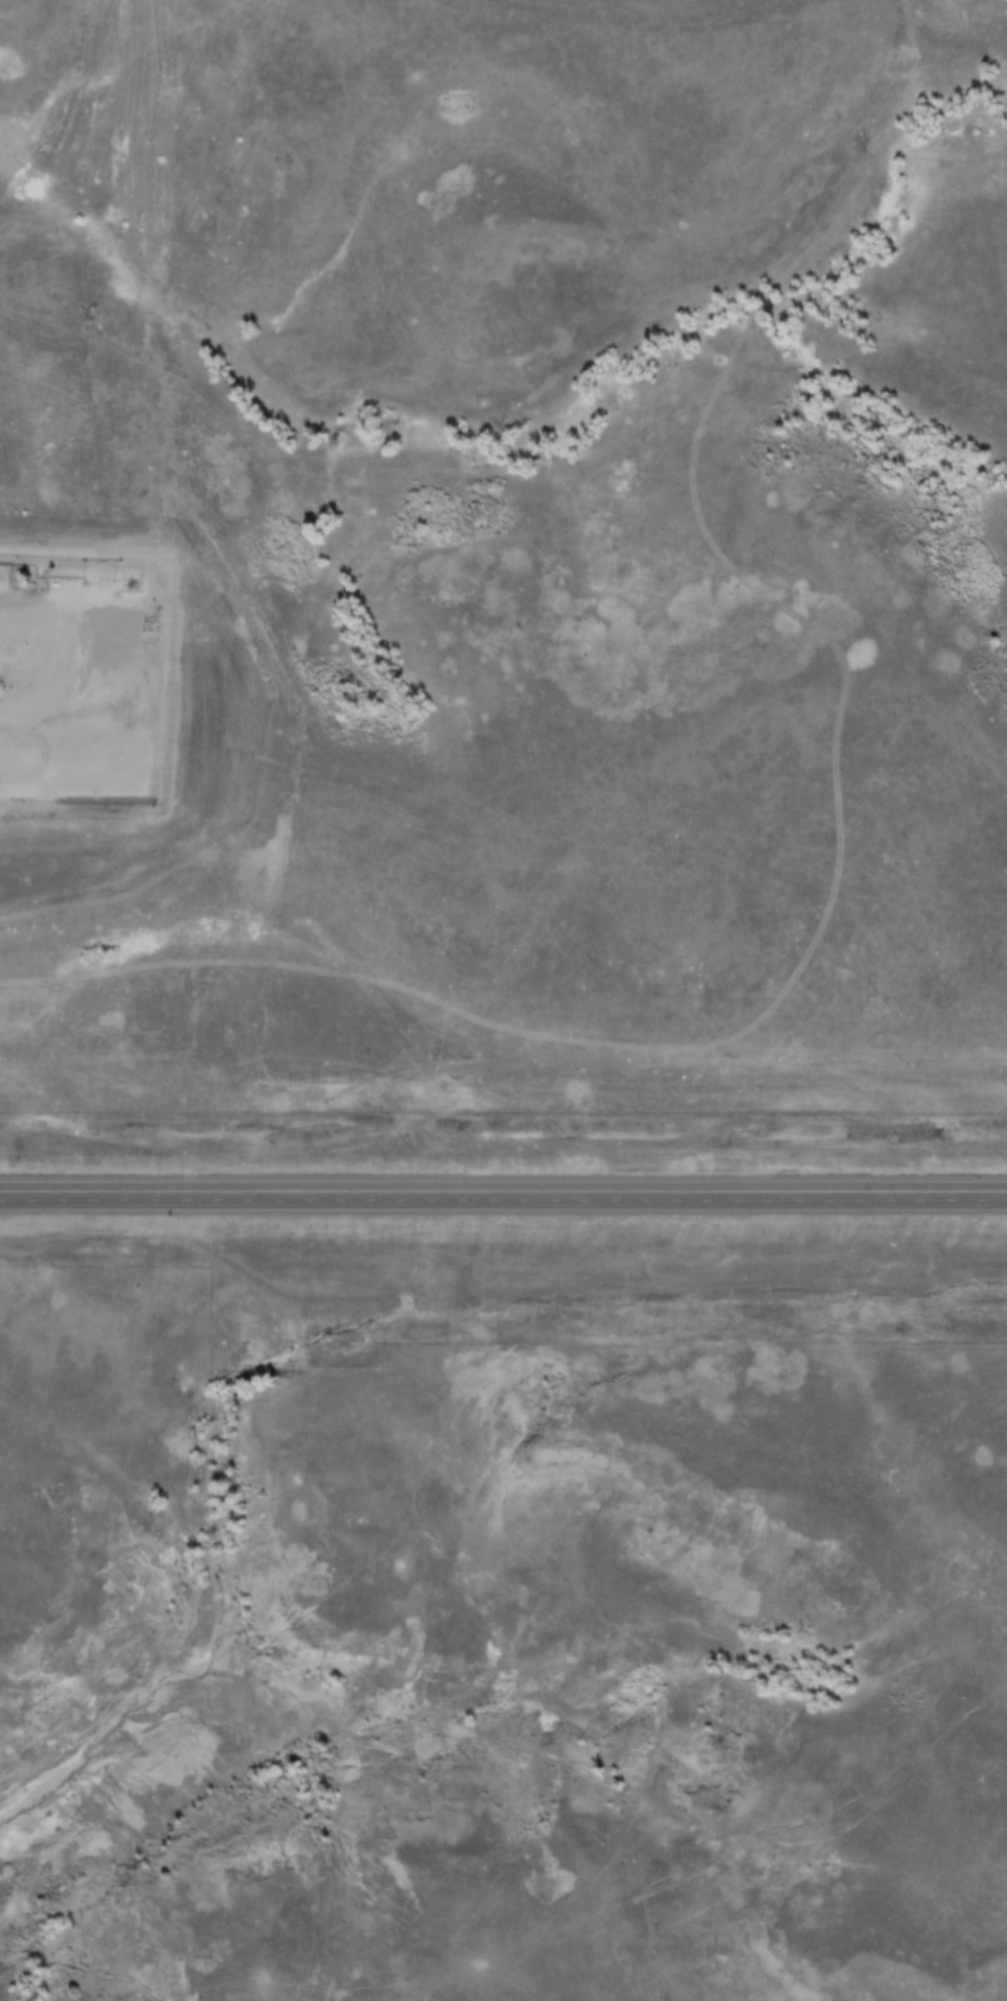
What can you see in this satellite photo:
building: (27, 578)
road: (503, 1196)

